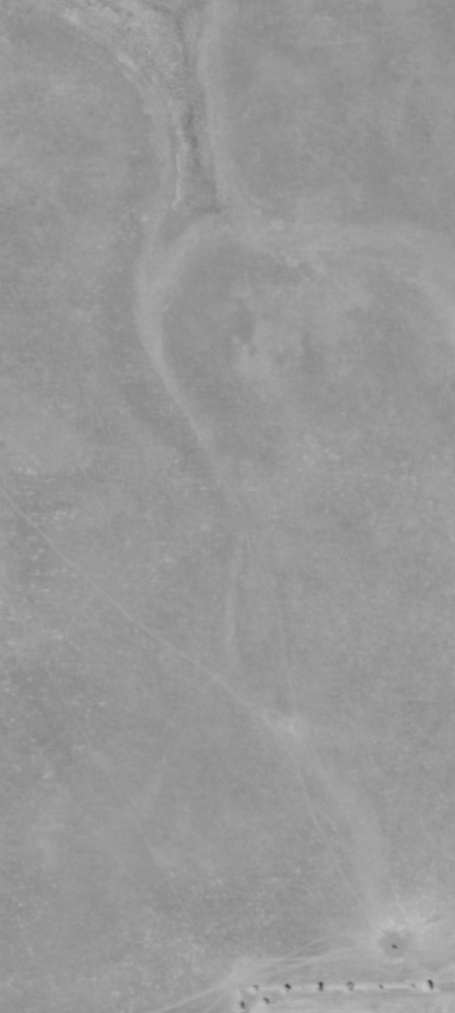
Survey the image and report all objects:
crop: (123, 584)

